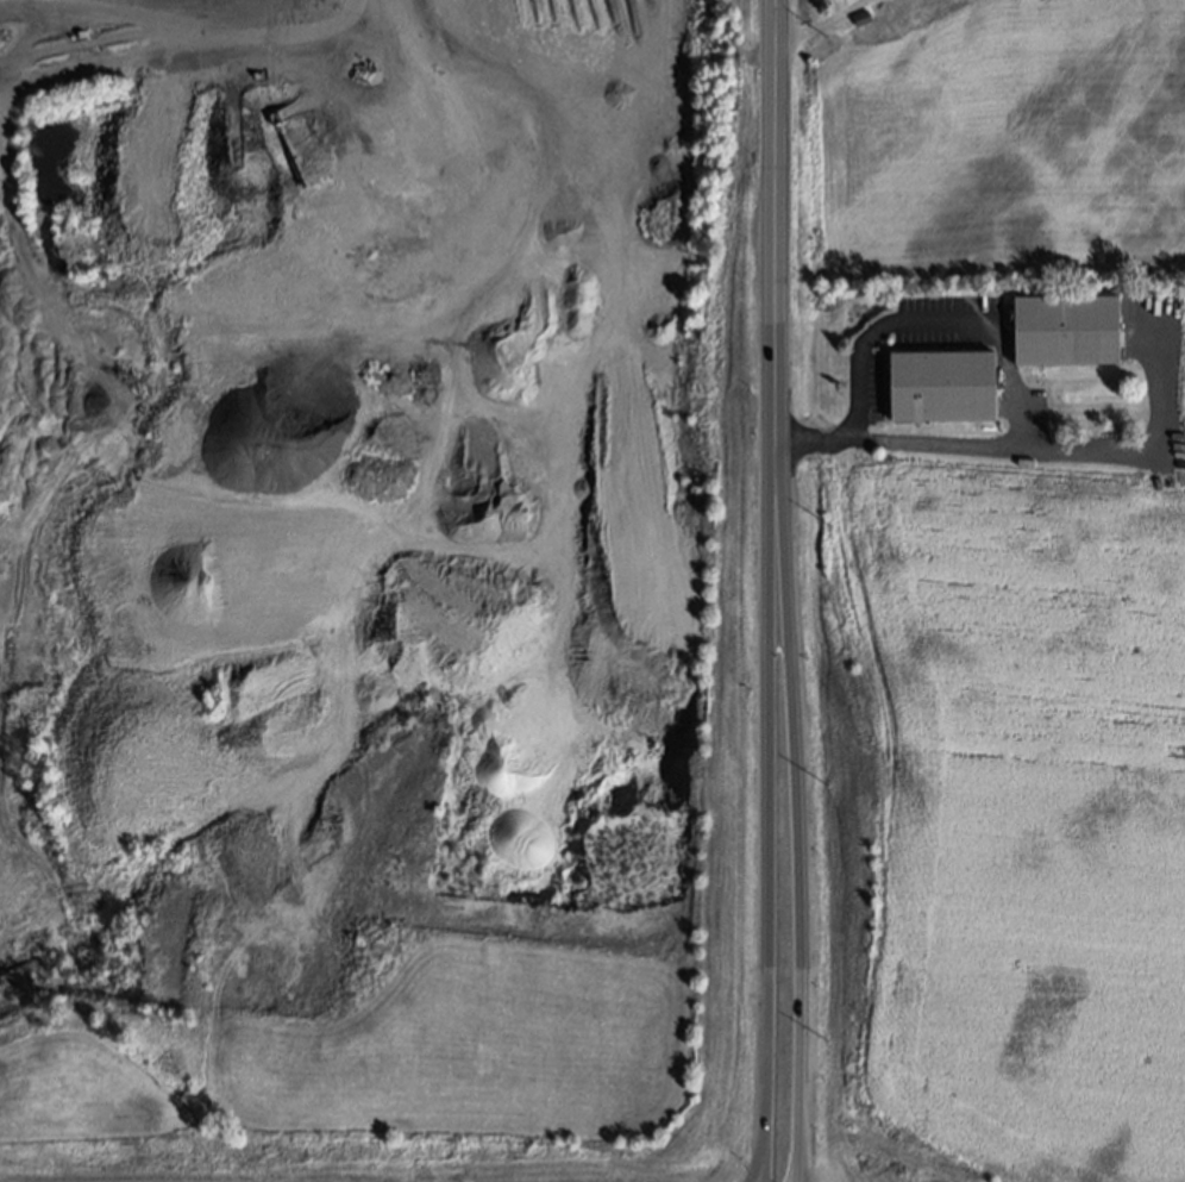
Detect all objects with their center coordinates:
building: (861, 18)
road: (817, 20)
road: (187, 43)
road: (776, 295)
road: (987, 324)
building: (1067, 330)
building: (942, 384)
quarry: (346, 448)
road: (797, 886)
road: (769, 887)
crop: (478, 942)

